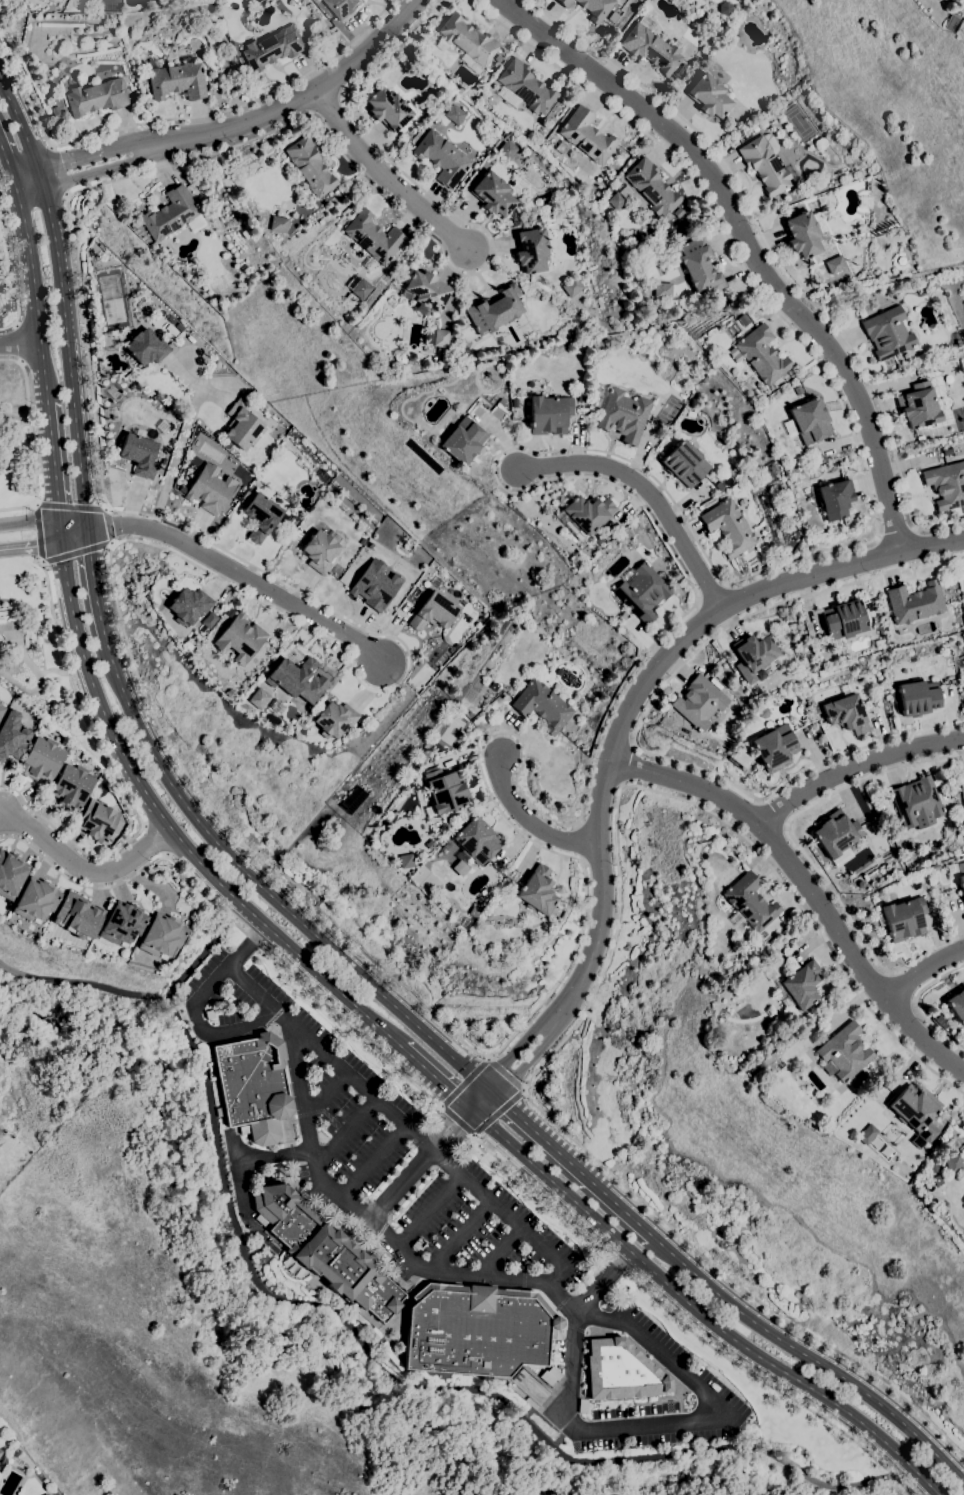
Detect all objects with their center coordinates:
building: (564, 3)
building: (339, 7)
building: (596, 8)
building: (725, 8)
building: (613, 17)
building: (466, 42)
building: (271, 48)
building: (650, 49)
building: (497, 58)
building: (682, 69)
building: (178, 81)
building: (526, 86)
building: (444, 96)
building: (708, 96)
building: (96, 97)
building: (388, 109)
building: (55, 113)
building: (454, 114)
road: (181, 117)
road: (249, 122)
road: (22, 130)
building: (586, 136)
building: (771, 142)
building: (561, 147)
building: (506, 150)
building: (441, 158)
road: (7, 165)
building: (310, 165)
building: (764, 166)
road: (58, 170)
building: (795, 177)
road: (398, 179)
road: (29, 182)
building: (651, 187)
building: (336, 192)
building: (493, 194)
building: (538, 201)
building: (169, 213)
building: (678, 213)
building: (341, 223)
building: (278, 224)
building: (805, 232)
building: (374, 237)
road: (744, 243)
building: (531, 250)
road: (774, 257)
building: (670, 263)
building: (835, 264)
building: (698, 265)
road: (13, 274)
building: (571, 286)
building: (358, 287)
building: (426, 290)
building: (661, 290)
road: (35, 294)
building: (718, 296)
building: (861, 297)
building: (160, 310)
building: (495, 310)
building: (743, 319)
building: (887, 333)
building: (440, 338)
road: (20, 340)
building: (146, 347)
road: (66, 353)
building: (761, 354)
building: (444, 358)
building: (948, 378)
road: (197, 382)
building: (798, 390)
building: (502, 402)
building: (918, 406)
building: (549, 414)
building: (624, 415)
road: (23, 416)
building: (809, 420)
building: (241, 425)
road: (31, 439)
building: (920, 439)
building: (462, 440)
building: (227, 444)
building: (232, 451)
building: (948, 451)
building: (139, 454)
road: (174, 457)
building: (684, 463)
road: (53, 468)
building: (249, 476)
building: (727, 483)
building: (946, 485)
building: (210, 489)
road: (646, 491)
building: (291, 499)
building: (835, 499)
road: (35, 503)
road: (70, 506)
road: (105, 508)
building: (587, 513)
building: (260, 516)
road: (31, 521)
road: (109, 526)
building: (728, 527)
road: (895, 531)
road: (73, 532)
road: (38, 533)
building: (599, 540)
building: (362, 541)
road: (111, 543)
building: (370, 545)
road: (31, 546)
building: (319, 551)
road: (76, 552)
road: (41, 562)
road: (239, 575)
building: (375, 585)
road: (93, 589)
building: (643, 592)
building: (914, 602)
building: (188, 605)
building: (433, 612)
building: (843, 619)
building: (209, 620)
building: (240, 638)
road: (711, 638)
road: (23, 647)
building: (755, 652)
building: (290, 675)
building: (717, 675)
road: (44, 684)
building: (493, 686)
building: (917, 697)
building: (258, 698)
building: (698, 702)
building: (542, 705)
building: (1, 710)
building: (845, 714)
building: (818, 715)
building: (334, 719)
building: (12, 736)
road: (617, 736)
building: (774, 747)
road: (855, 750)
building: (40, 760)
road: (629, 765)
road: (856, 768)
road: (116, 781)
building: (71, 787)
building: (445, 791)
building: (916, 803)
road: (773, 813)
road: (4, 818)
building: (98, 821)
road: (532, 823)
road: (170, 829)
building: (836, 833)
building: (476, 841)
road: (805, 855)
building: (404, 860)
building: (458, 867)
road: (86, 872)
building: (10, 874)
building: (961, 883)
road: (807, 886)
building: (537, 891)
road: (267, 893)
building: (32, 900)
building: (750, 902)
building: (79, 915)
building: (903, 919)
road: (230, 920)
building: (122, 924)
building: (465, 924)
building: (161, 936)
road: (247, 946)
road: (203, 952)
road: (375, 962)
road: (922, 971)
building: (796, 985)
road: (901, 986)
road: (591, 996)
road: (916, 1003)
building: (957, 1005)
building: (769, 1011)
building: (209, 1014)
road: (203, 1031)
building: (845, 1051)
building: (752, 1071)
road: (507, 1073)
building: (861, 1077)
road: (436, 1078)
road: (466, 1080)
building: (253, 1086)
road: (301, 1086)
road: (327, 1092)
building: (914, 1107)
road: (499, 1111)
road: (457, 1118)
building: (936, 1119)
road: (407, 1126)
road: (346, 1133)
building: (865, 1134)
road: (374, 1161)
road: (421, 1163)
building: (953, 1164)
road: (571, 1165)
road: (236, 1175)
road: (430, 1211)
parking lot: (479, 1228)
road: (460, 1237)
building: (323, 1250)
road: (501, 1251)
road: (603, 1282)
road: (696, 1312)
road: (677, 1317)
building: (476, 1330)
road: (370, 1349)
road: (811, 1358)
building: (620, 1369)
building: (549, 1375)
road: (569, 1379)
road: (540, 1396)
building: (0, 1450)
building: (0, 1452)
building: (46, 1494)

